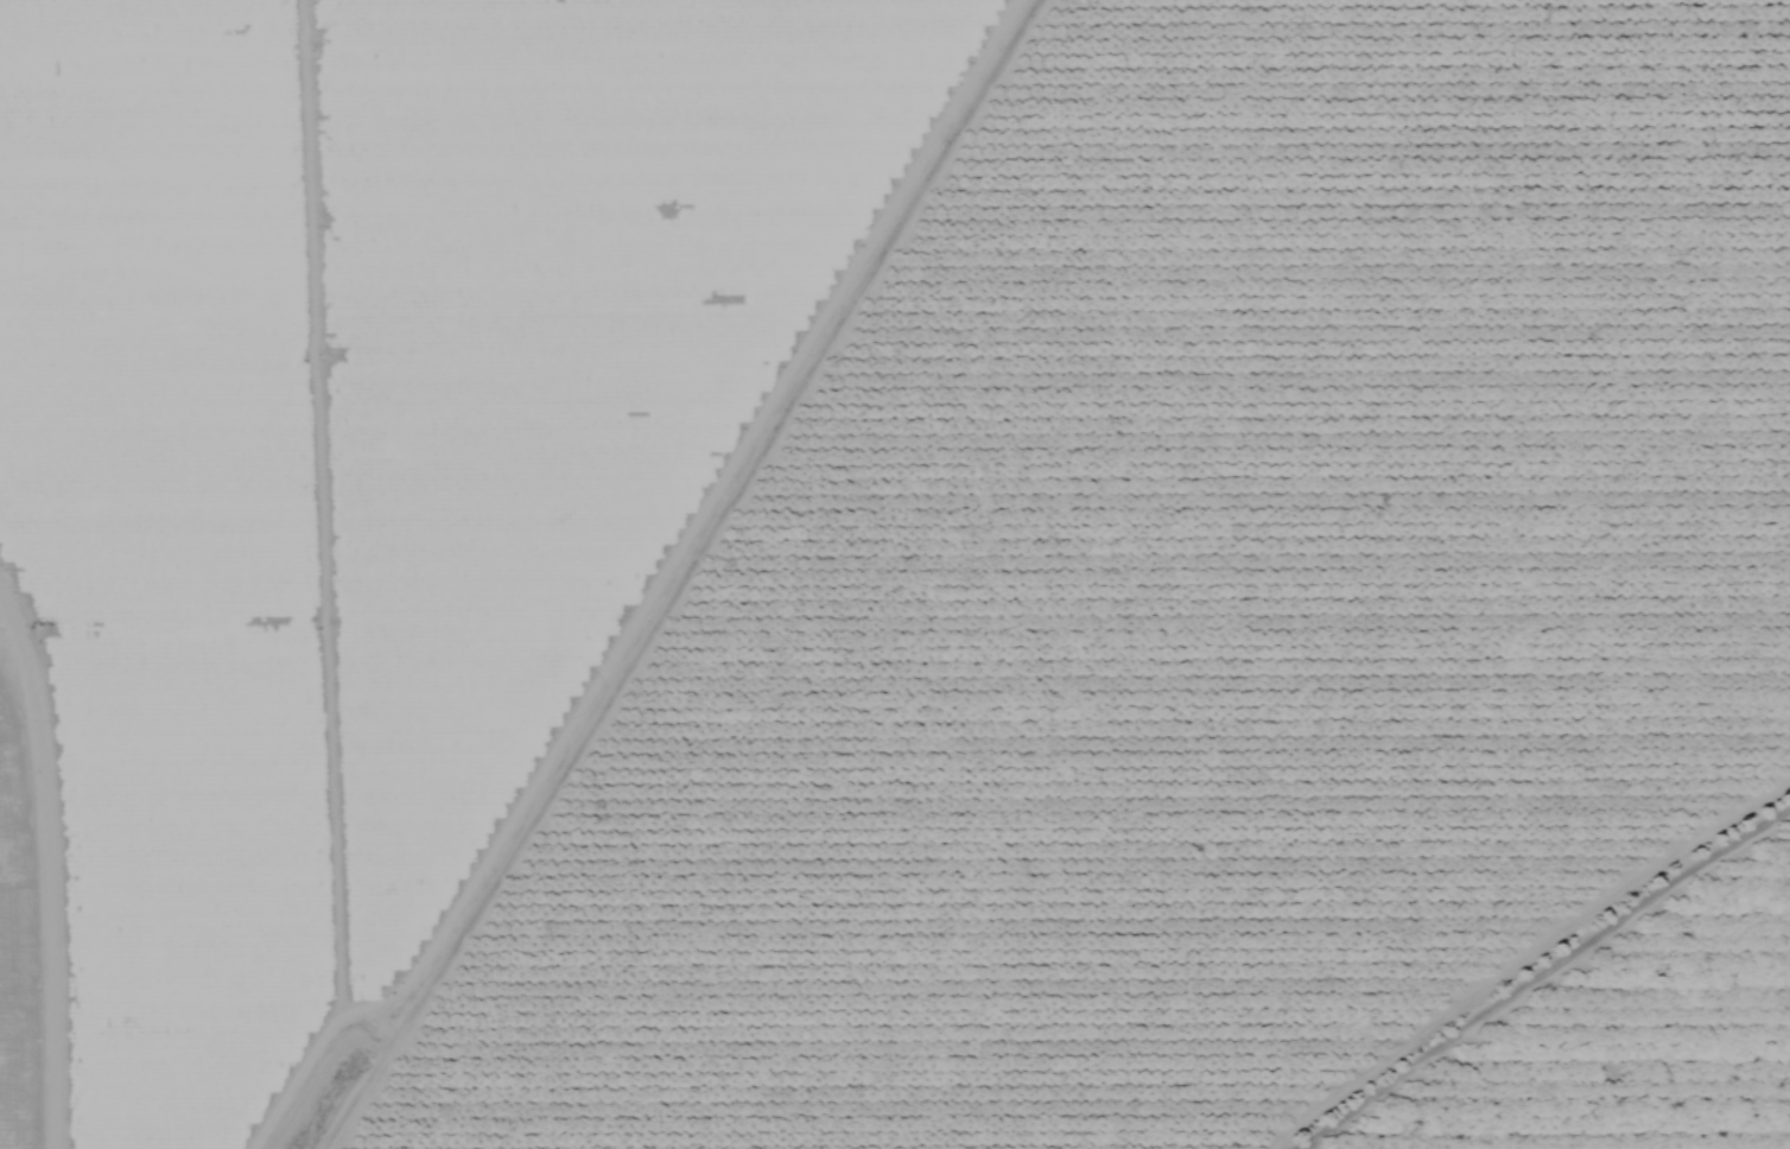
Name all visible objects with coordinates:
crop: (374, 476)
road: (722, 499)

